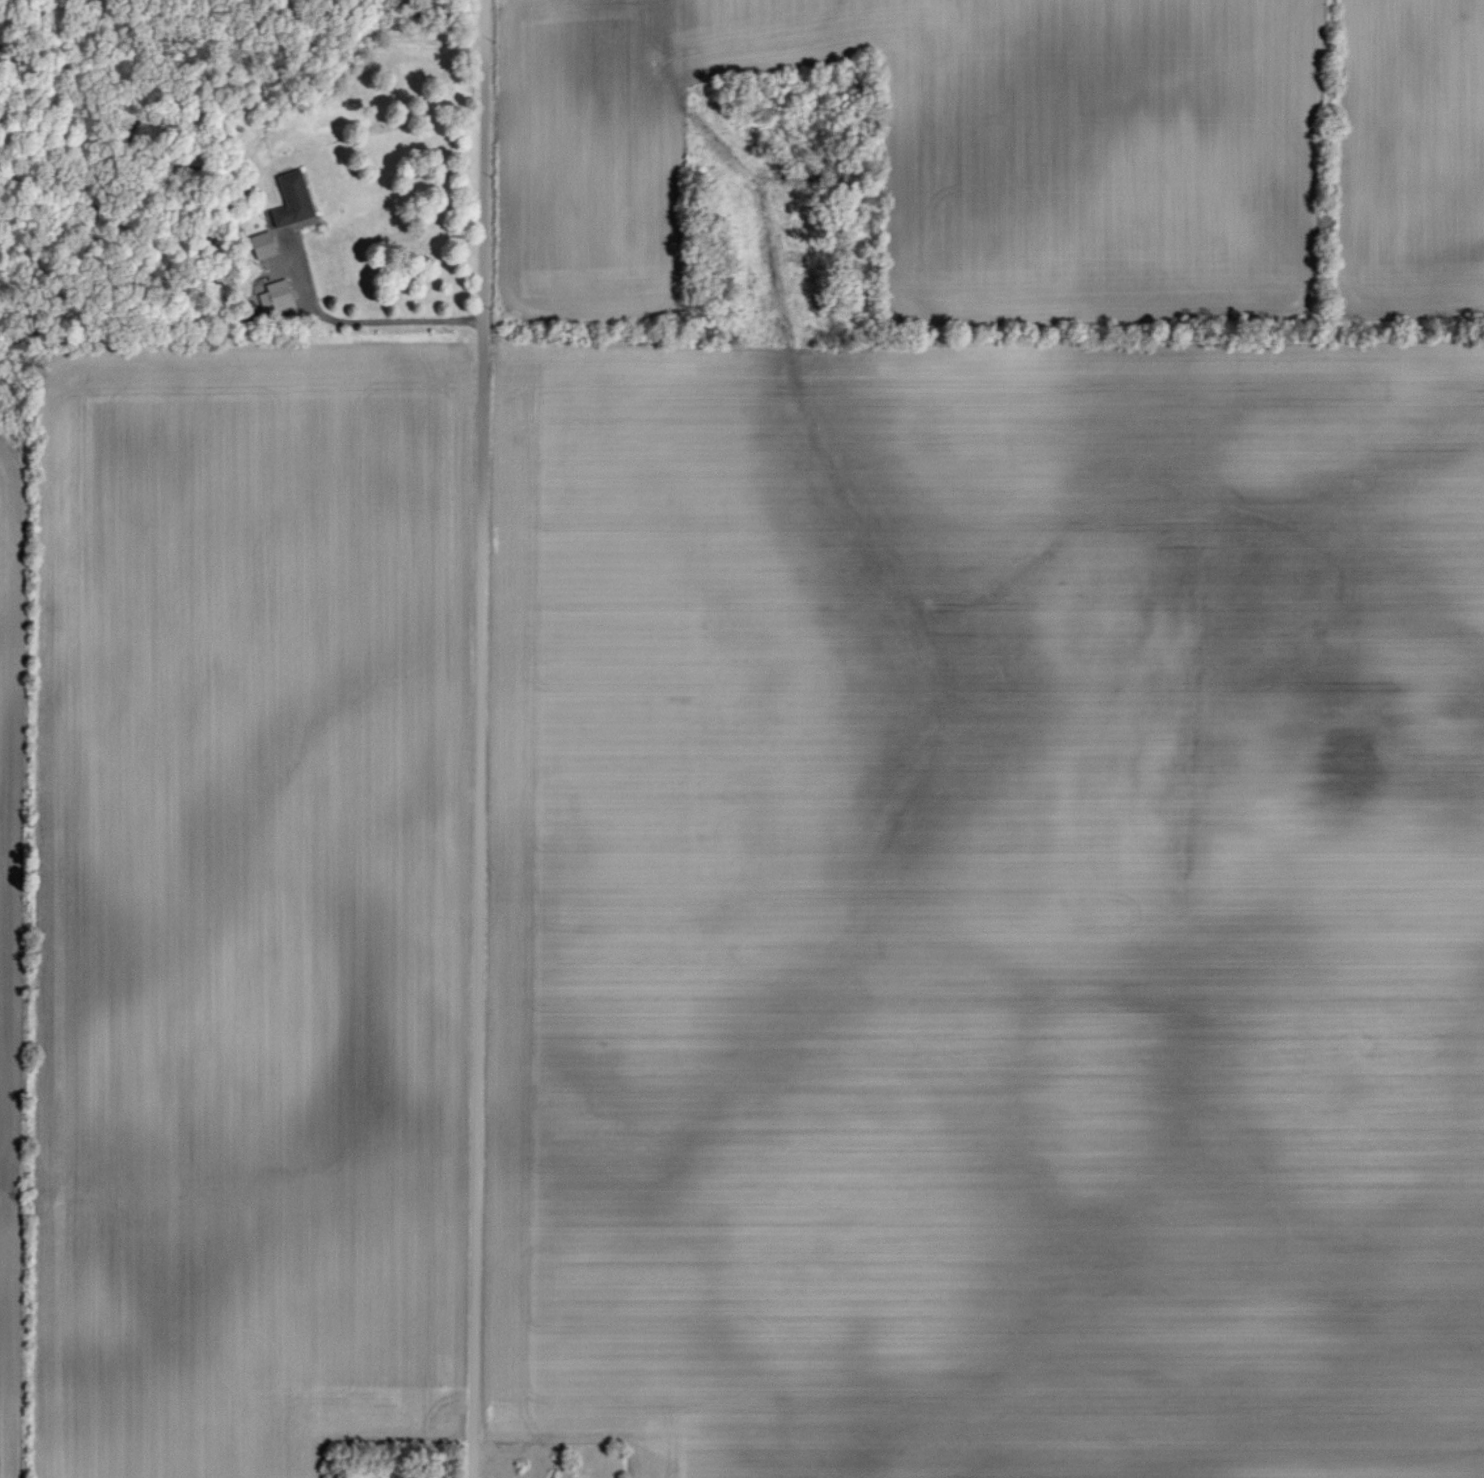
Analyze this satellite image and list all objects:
building: (289, 199)
building: (259, 244)
building: (275, 296)
road: (335, 323)
road: (476, 738)

